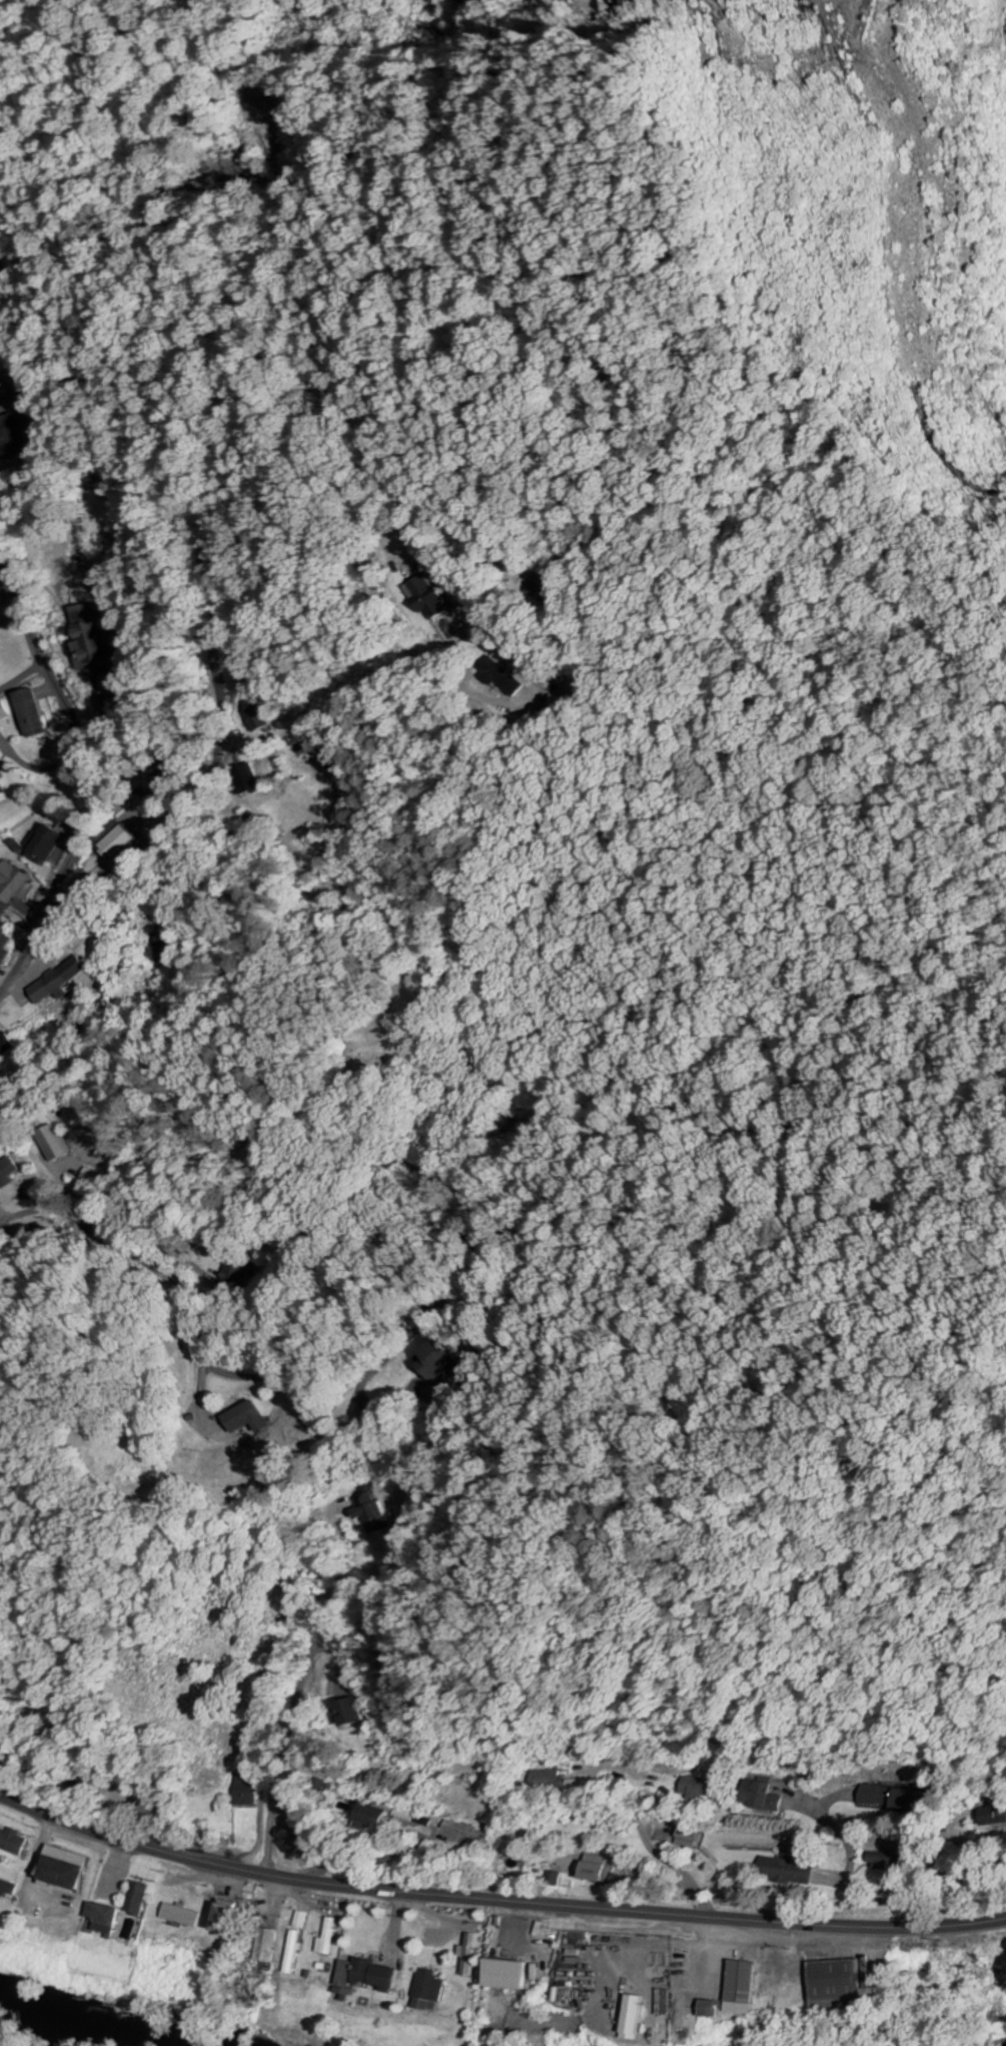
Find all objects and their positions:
road: (232, 367)
building: (11, 439)
building: (429, 597)
building: (92, 638)
road: (21, 676)
building: (510, 681)
building: (4, 713)
building: (34, 714)
building: (260, 720)
road: (92, 770)
building: (252, 779)
building: (1, 791)
building: (124, 843)
building: (49, 846)
building: (13, 887)
building: (6, 947)
building: (60, 983)
building: (8, 1049)
building: (8, 1173)
road: (24, 1211)
road: (147, 1261)
road: (323, 1347)
building: (435, 1360)
building: (247, 1417)
building: (369, 1512)
road: (303, 1688)
building: (348, 1712)
building: (546, 1782)
building: (695, 1788)
building: (249, 1791)
building: (761, 1797)
building: (886, 1798)
building: (365, 1815)
building: (992, 1816)
building: (463, 1832)
building: (685, 1839)
building: (15, 1842)
building: (296, 1843)
building: (878, 1861)
building: (592, 1869)
building: (70, 1870)
building: (783, 1870)
building: (552, 1879)
building: (10, 1886)
road: (697, 1891)
road: (958, 1897)
building: (141, 1898)
road: (496, 1898)
building: (183, 1916)
building: (233, 1919)
building: (108, 1920)
building: (303, 1920)
building: (330, 1938)
building: (274, 1946)
building: (296, 1951)
building: (467, 1956)
building: (500, 1975)
building: (373, 1976)
building: (737, 1988)
building: (426, 1991)
building: (704, 2009)
river: (81, 2024)

